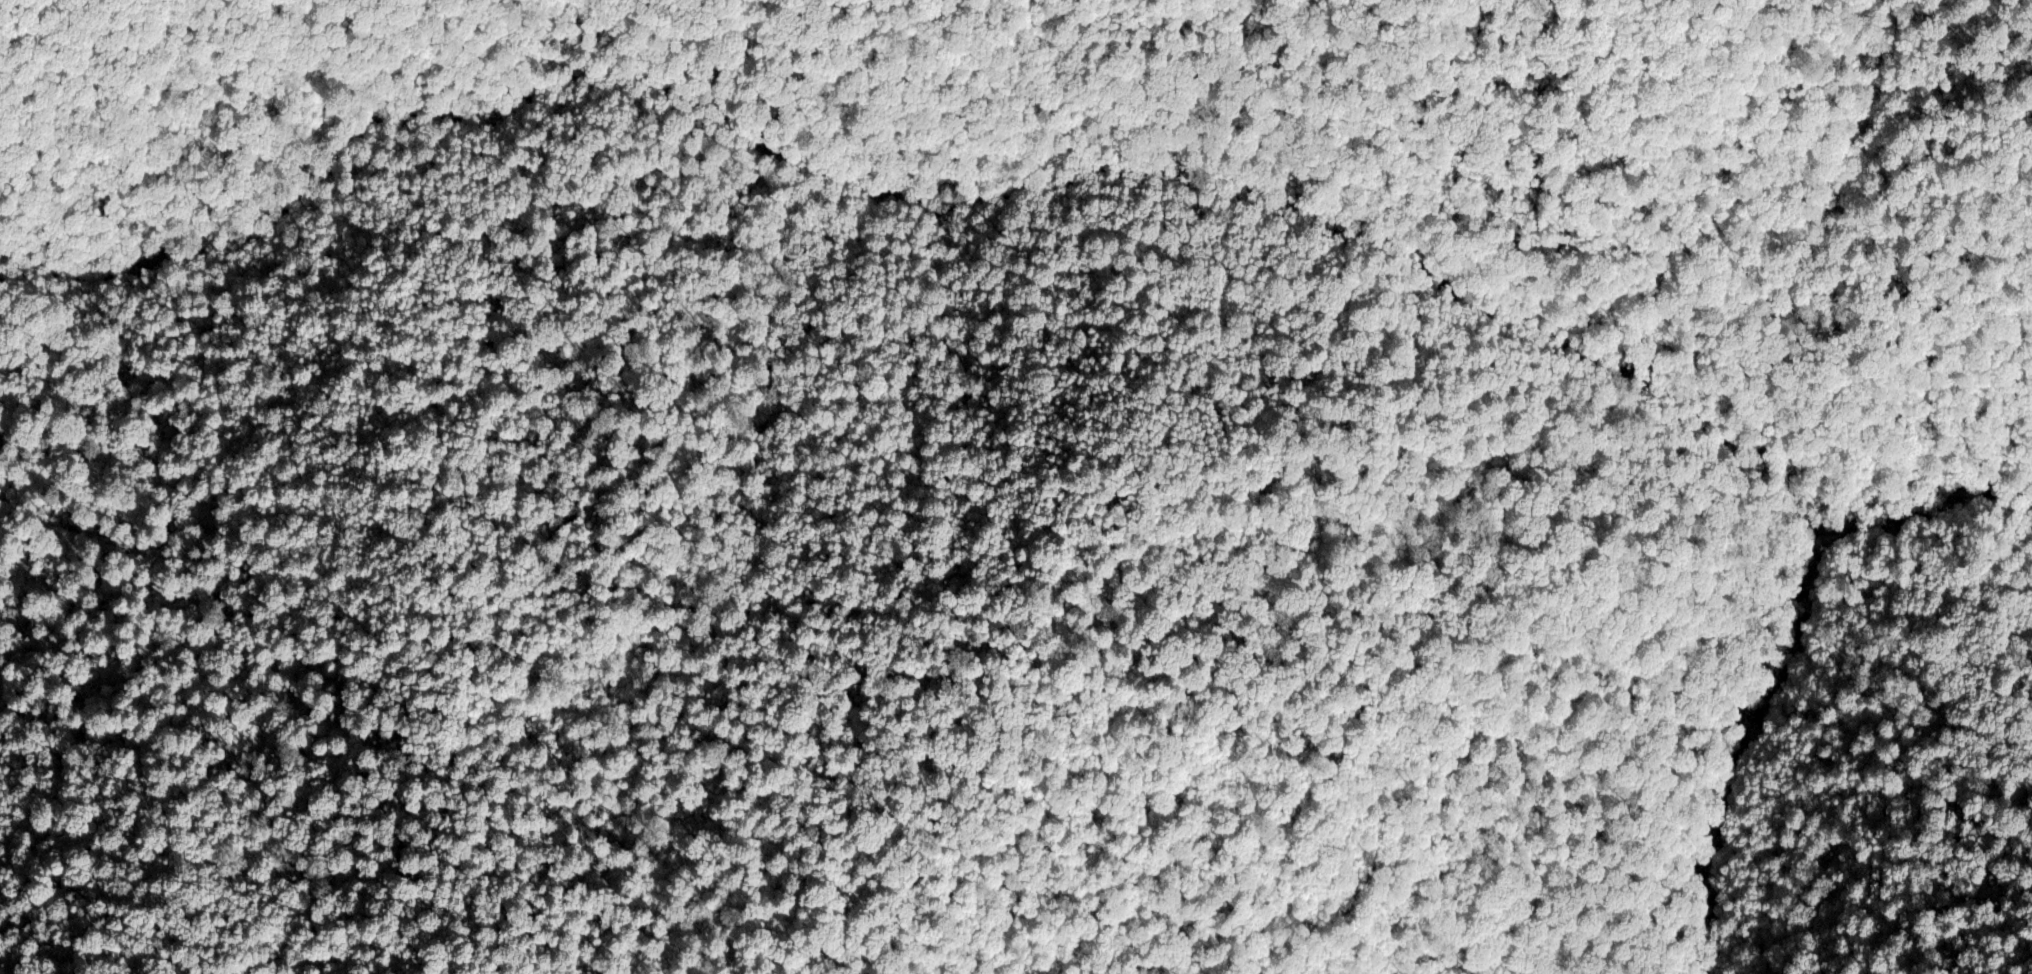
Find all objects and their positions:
road: (942, 163)
river: (1931, 517)
road: (1952, 546)
road: (1810, 582)
road: (1852, 587)
river: (1721, 741)
road: (1771, 767)

